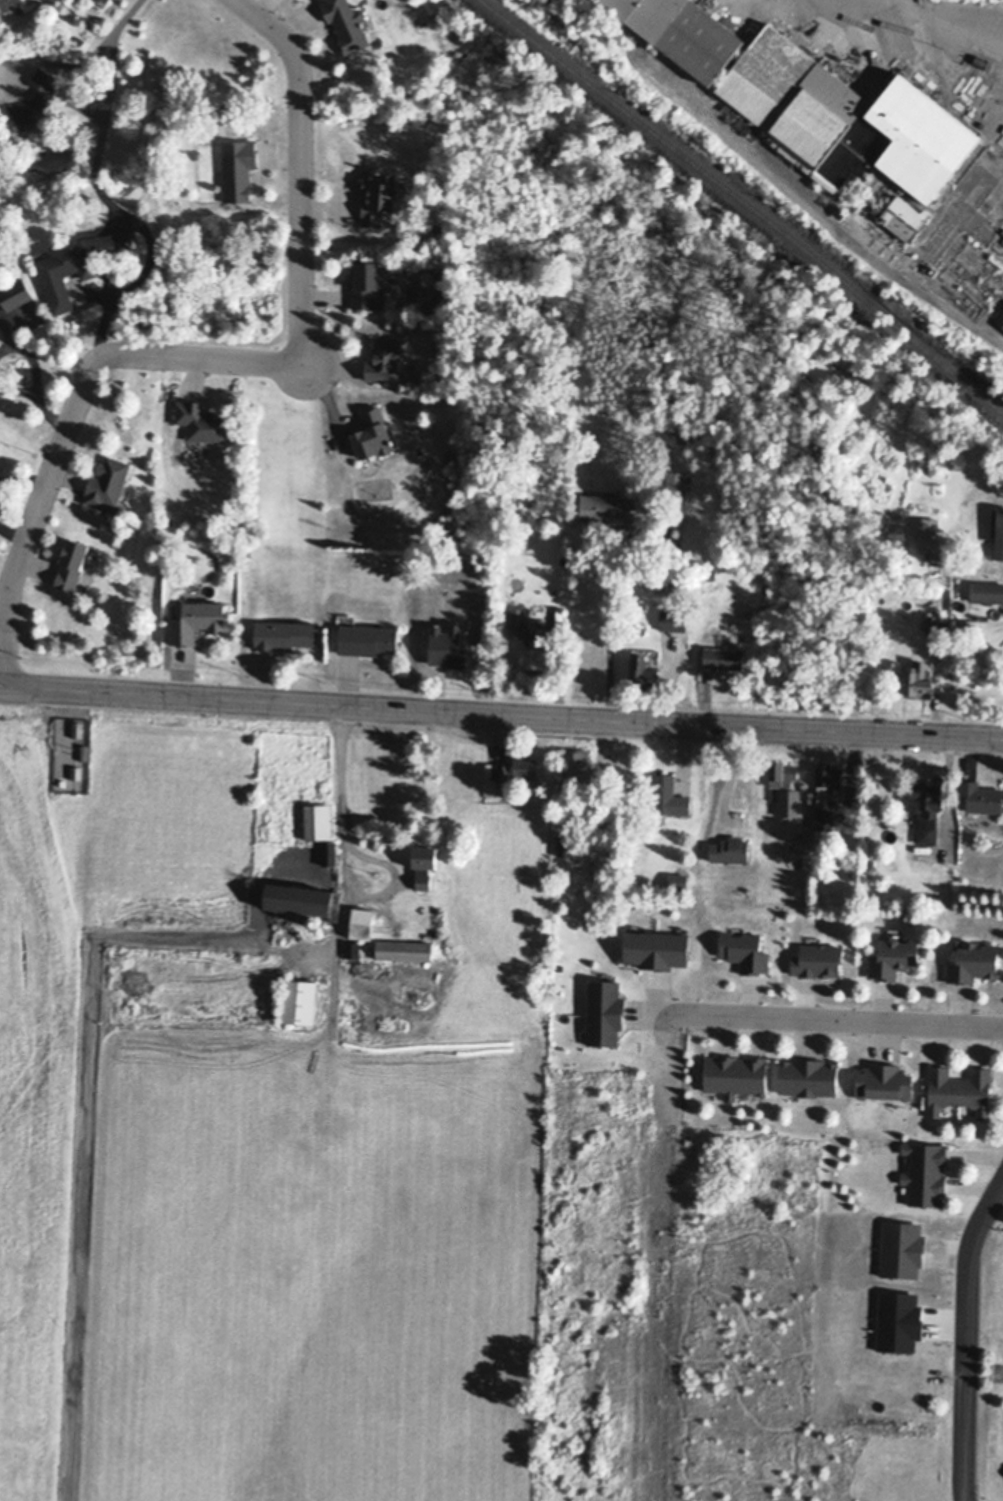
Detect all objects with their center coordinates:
building: (108, 1)
building: (4, 4)
building: (347, 21)
road: (951, 21)
building: (685, 31)
building: (80, 39)
building: (983, 60)
building: (27, 108)
building: (844, 116)
building: (238, 167)
road: (101, 192)
building: (378, 194)
railway: (739, 210)
building: (838, 212)
building: (902, 216)
building: (76, 261)
building: (930, 269)
building: (367, 283)
building: (15, 292)
building: (429, 308)
building: (1002, 323)
road: (7, 333)
building: (384, 358)
road: (31, 360)
road: (216, 360)
building: (444, 382)
road: (34, 400)
building: (201, 420)
building: (372, 433)
building: (681, 435)
building: (675, 480)
building: (107, 481)
building: (366, 488)
building: (607, 507)
building: (999, 533)
road: (12, 534)
building: (926, 538)
building: (71, 563)
building: (709, 574)
building: (986, 591)
building: (672, 618)
building: (197, 619)
building: (516, 621)
building: (936, 622)
road: (603, 628)
building: (283, 633)
building: (367, 638)
building: (723, 656)
building: (456, 657)
building: (534, 658)
building: (643, 670)
building: (918, 678)
road: (283, 701)
building: (77, 727)
road: (784, 727)
power substation: (71, 753)
building: (525, 766)
building: (580, 767)
building: (502, 769)
building: (76, 771)
building: (782, 772)
building: (830, 776)
building: (668, 795)
building: (981, 796)
building: (800, 797)
building: (929, 806)
building: (824, 817)
building: (318, 820)
building: (567, 841)
road: (352, 848)
building: (730, 849)
building: (328, 851)
building: (424, 863)
building: (677, 880)
building: (927, 896)
building: (303, 898)
building: (312, 921)
building: (361, 922)
building: (278, 934)
building: (352, 948)
building: (656, 948)
building: (404, 949)
building: (745, 950)
building: (893, 956)
building: (818, 959)
building: (972, 961)
building: (297, 1000)
building: (604, 1011)
road: (835, 1021)
building: (735, 1074)
building: (807, 1076)
building: (884, 1081)
building: (959, 1089)
building: (925, 1172)
crop: (229, 1198)
road: (969, 1341)

